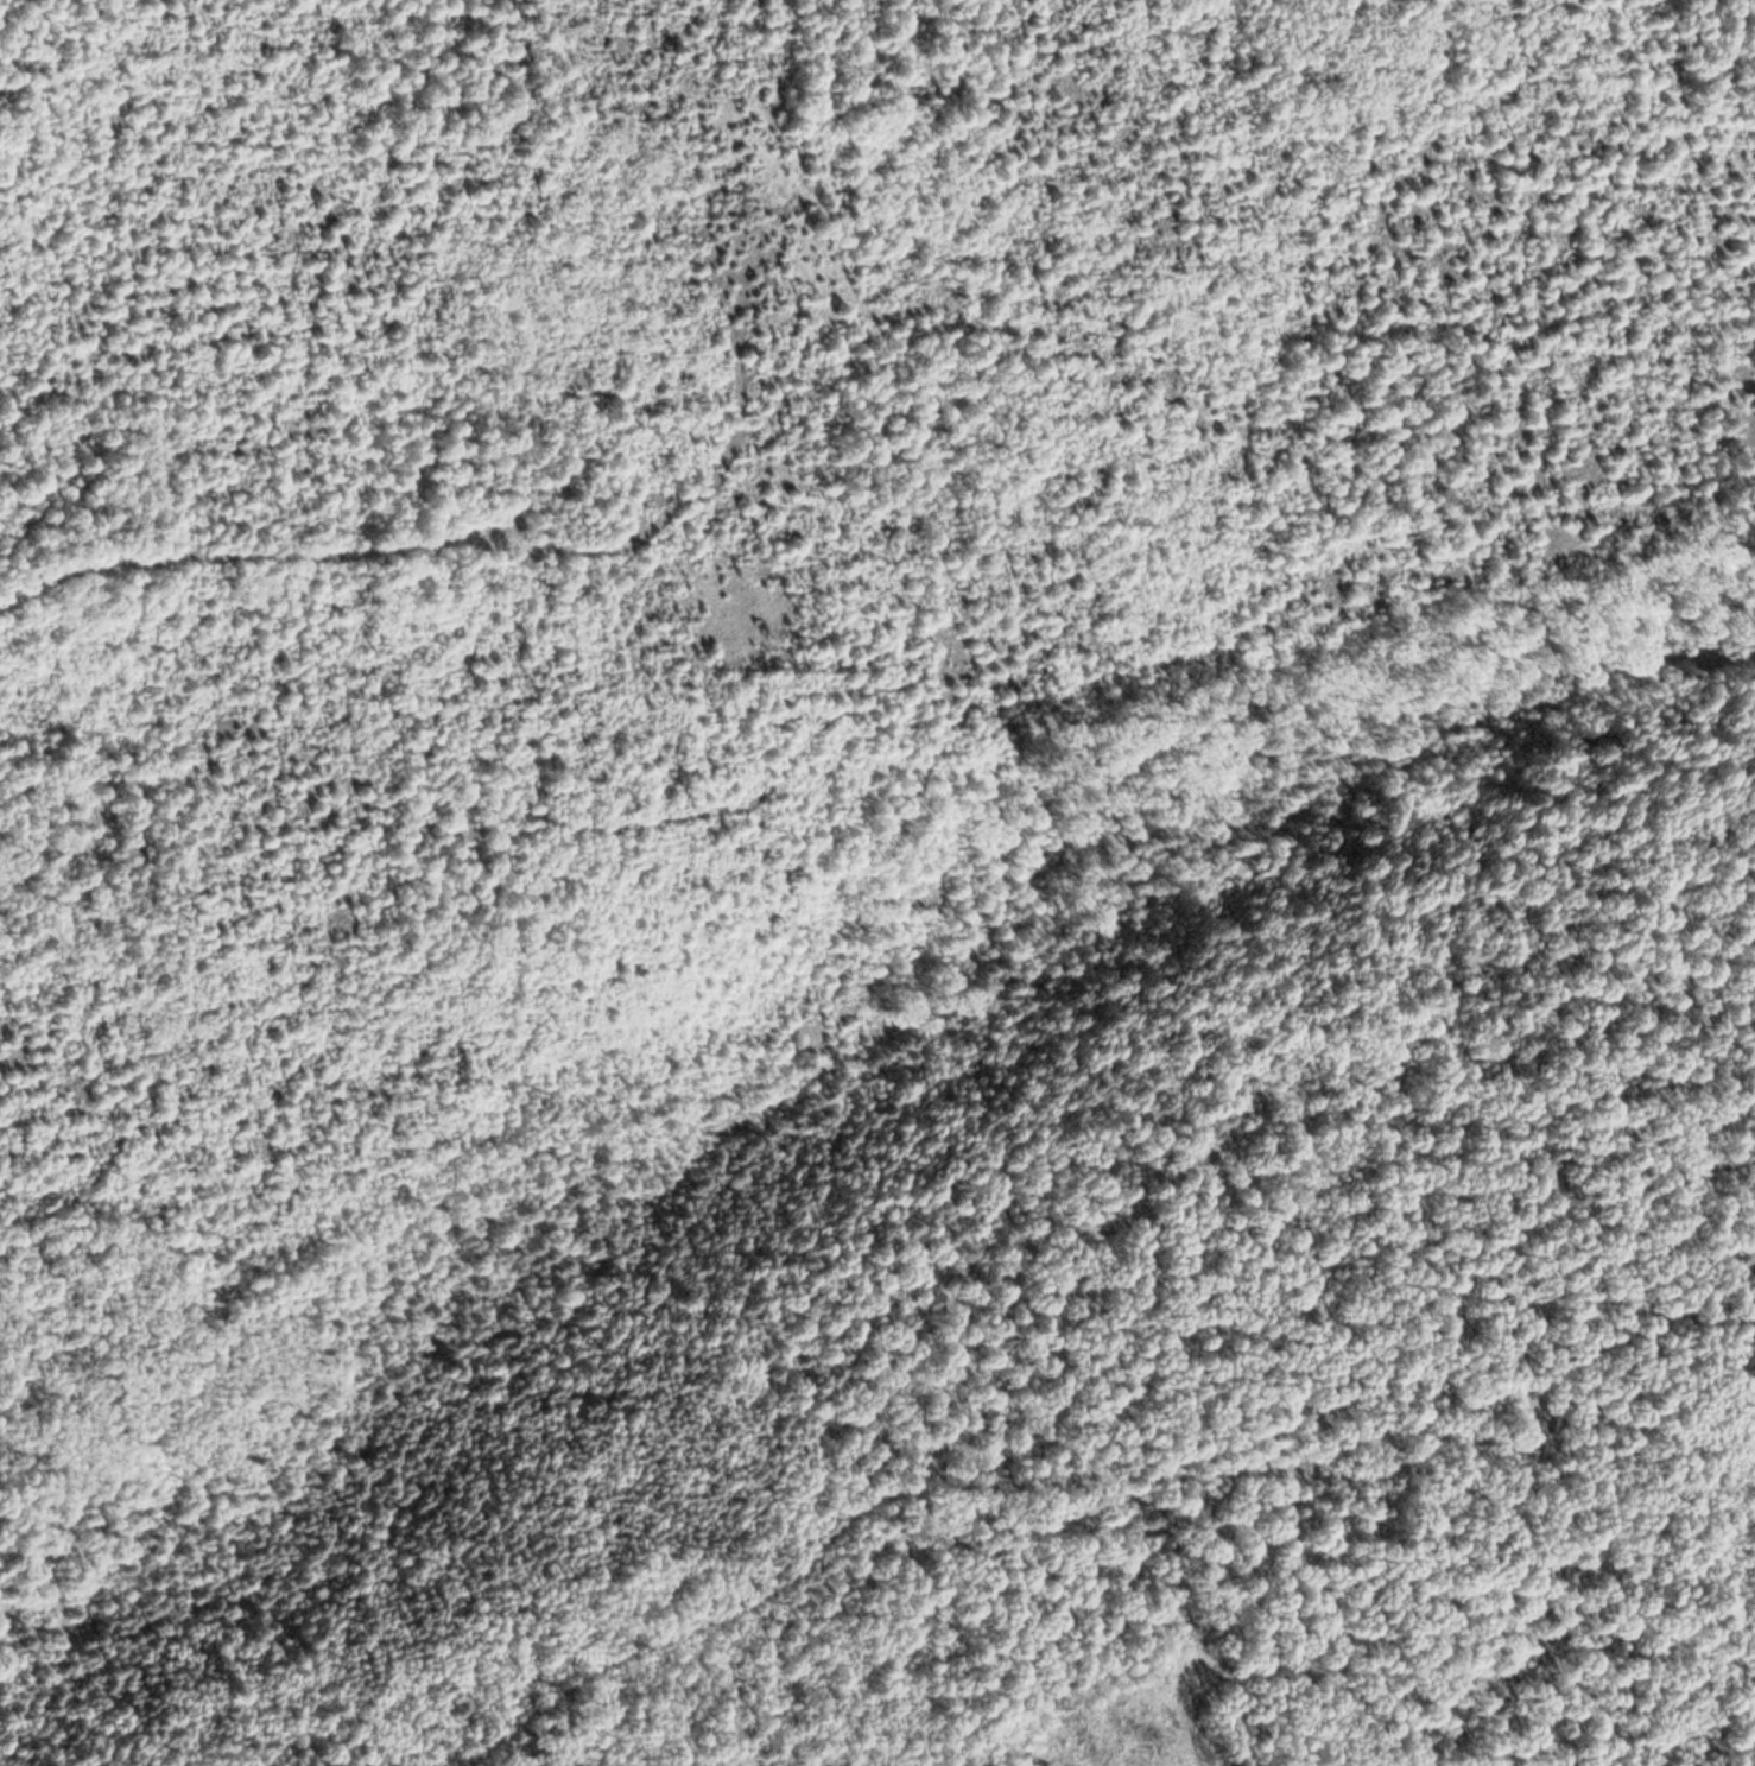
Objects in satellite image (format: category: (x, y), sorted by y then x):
road: (1086, 1473)
road: (74, 1521)
road: (1193, 1732)

